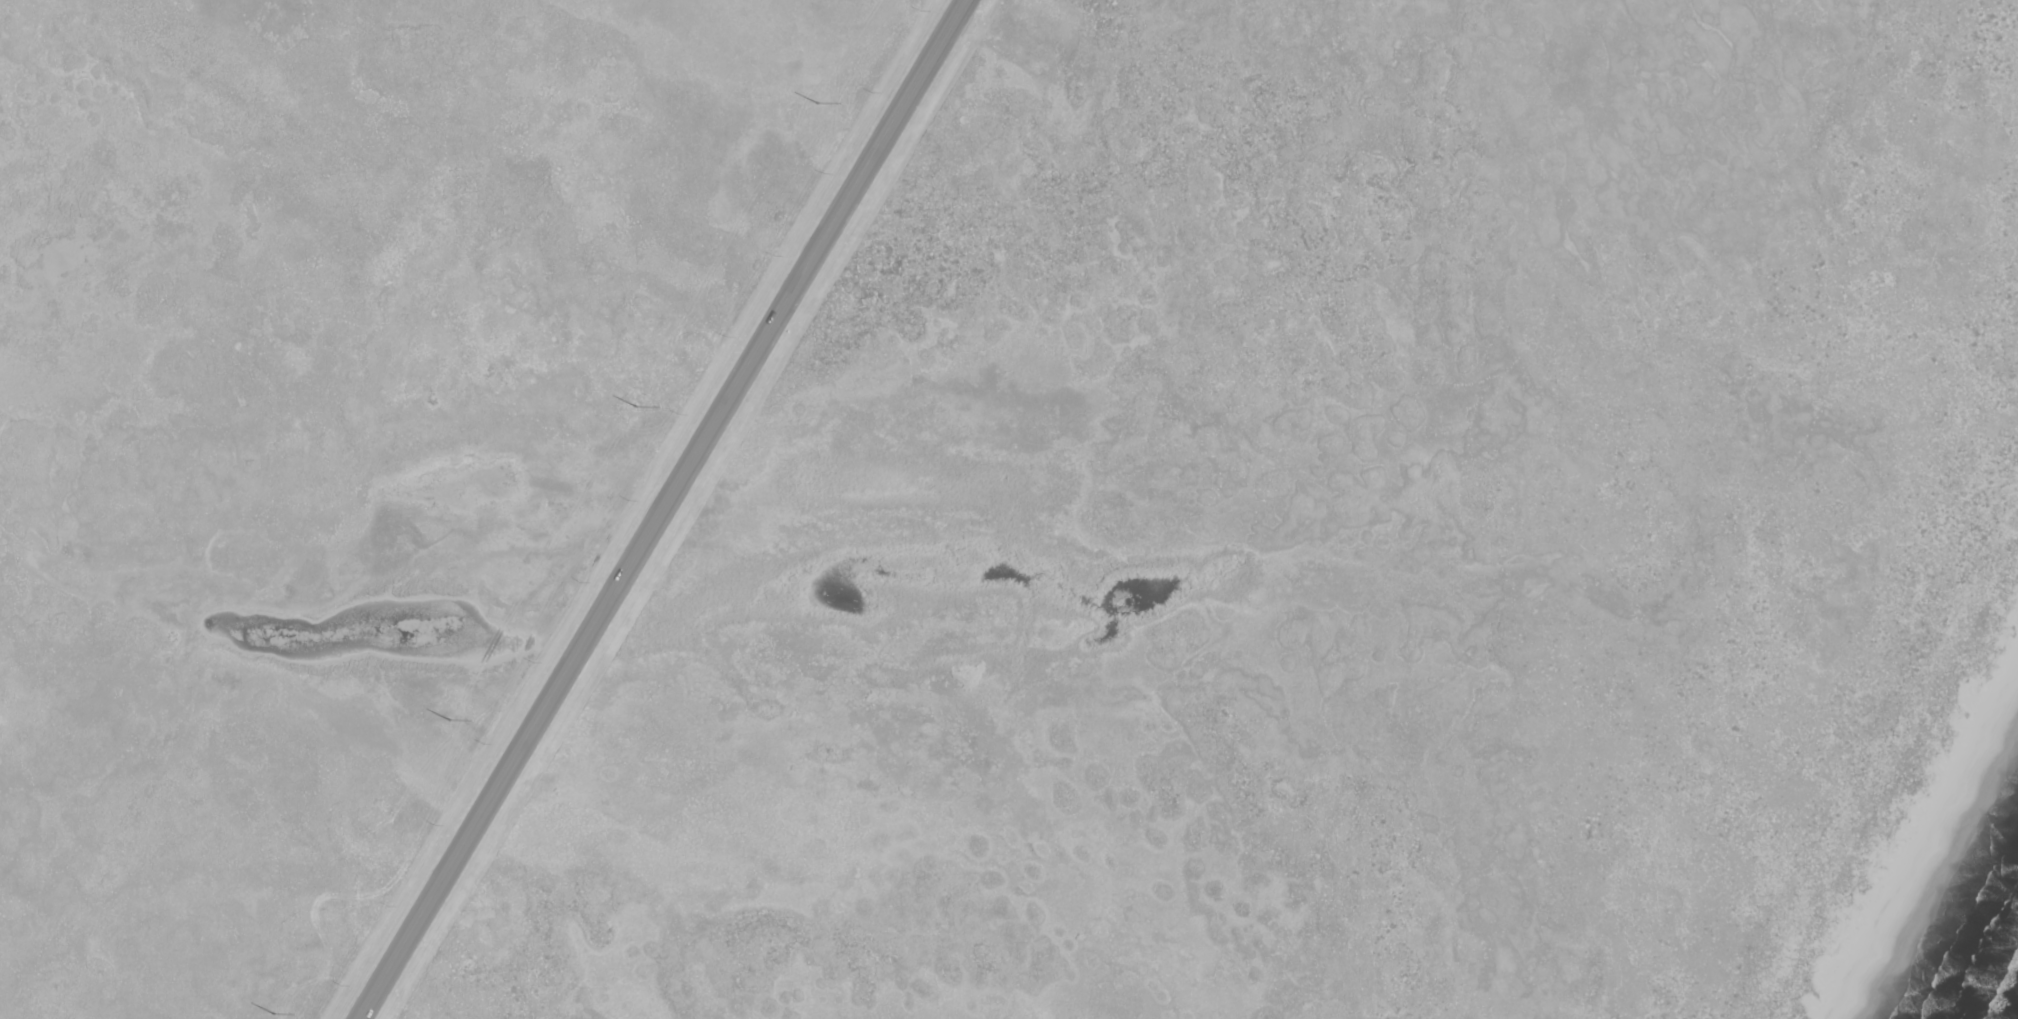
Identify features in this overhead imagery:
power tower: (819, 106)
power tower: (637, 408)
park: (336, 427)
road: (670, 509)
park: (1349, 548)
power tower: (453, 722)
power tower: (275, 1016)

